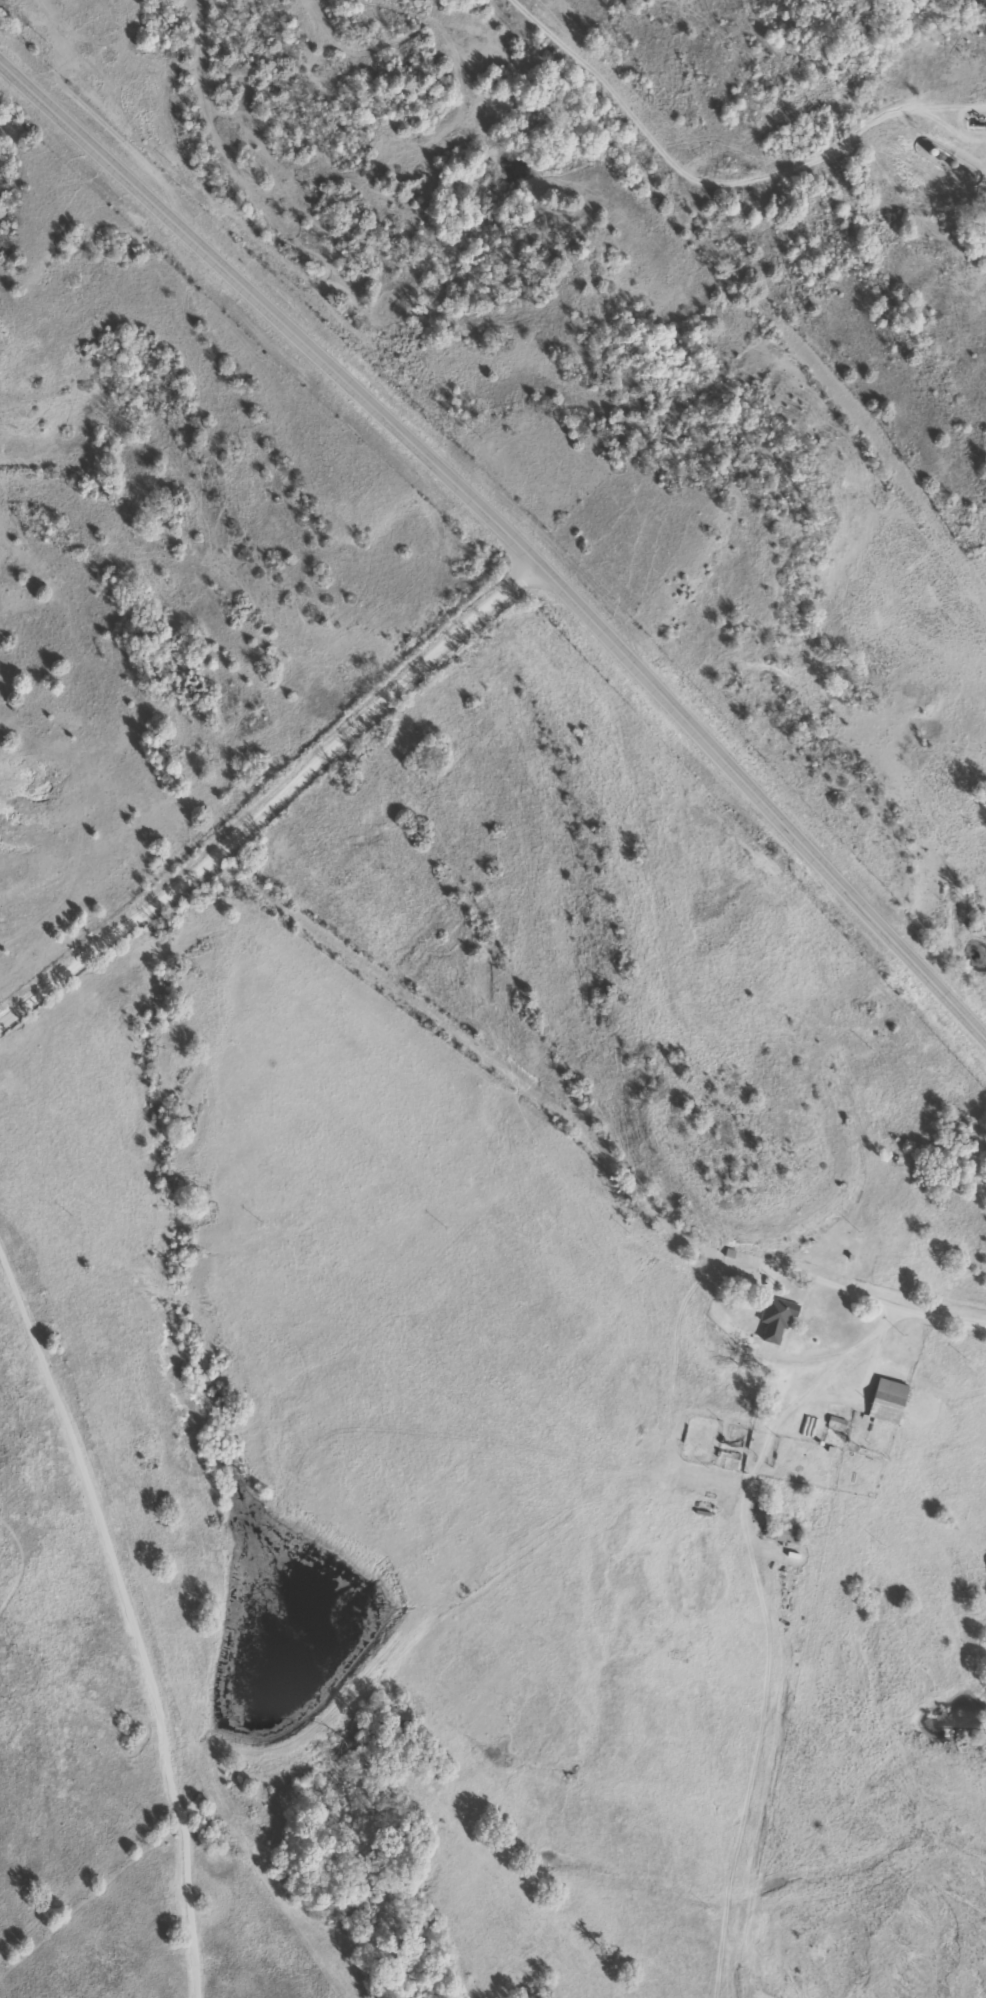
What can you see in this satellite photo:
road: (705, 181)
road: (507, 538)
road: (274, 802)
road: (851, 1290)
building: (773, 1318)
building: (885, 1402)
building: (780, 1535)

